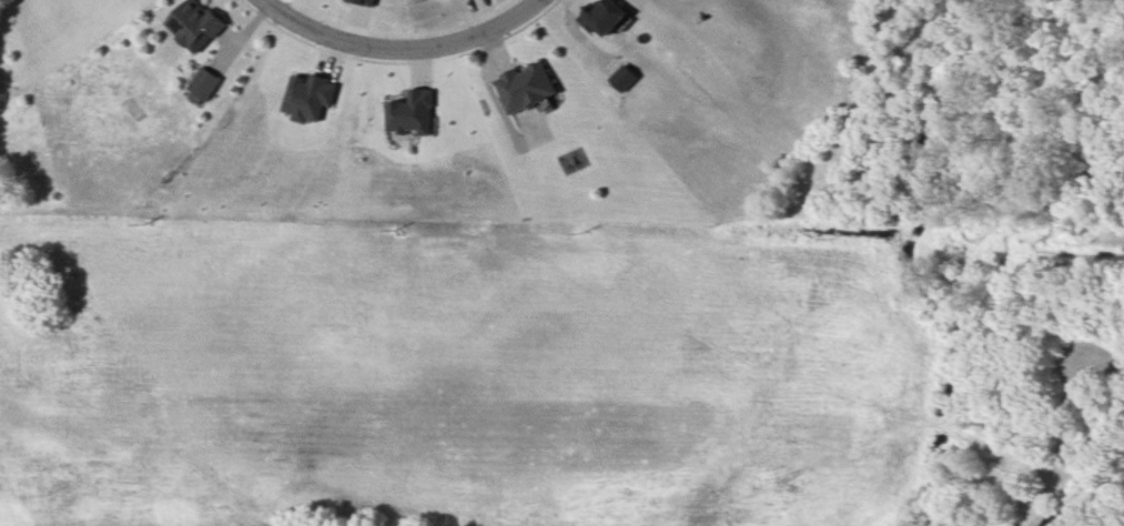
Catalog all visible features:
building: (605, 19)
building: (195, 23)
road: (401, 51)
building: (625, 78)
building: (205, 87)
building: (528, 89)

